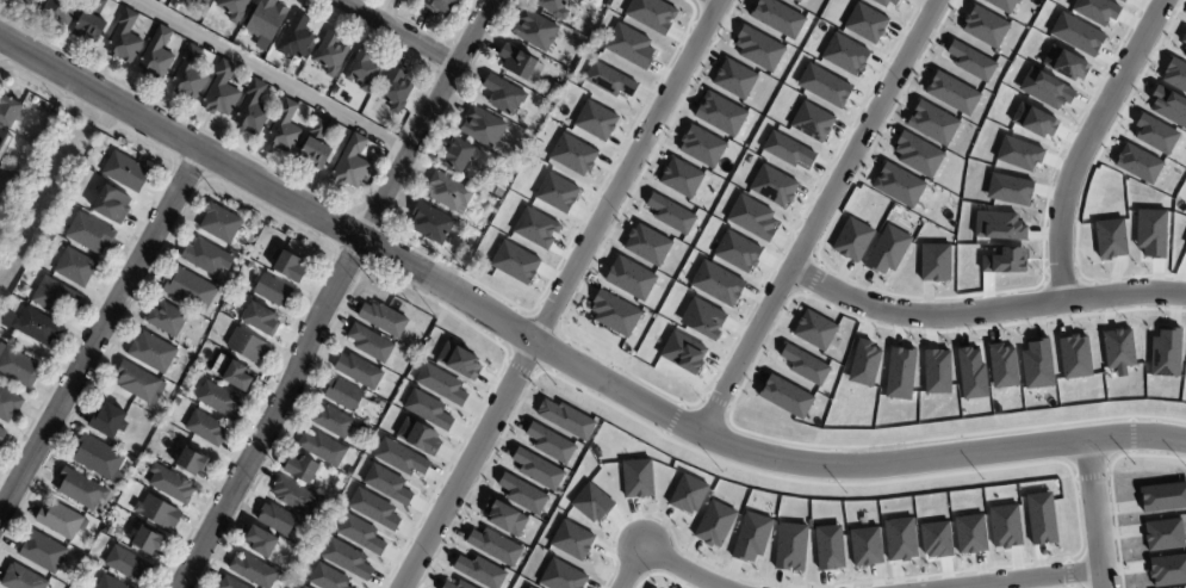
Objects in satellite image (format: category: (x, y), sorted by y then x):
road: (719, 0)
building: (1122, 0)
building: (795, 1)
building: (884, 1)
building: (199, 2)
building: (1002, 5)
building: (176, 7)
building: (441, 7)
building: (554, 7)
building: (234, 8)
building: (1095, 10)
building: (61, 11)
road: (8, 14)
building: (651, 14)
building: (777, 17)
building: (266, 21)
building: (92, 23)
building: (865, 23)
building: (985, 26)
building: (210, 29)
building: (536, 31)
road: (400, 32)
building: (1076, 35)
building: (296, 38)
building: (125, 41)
building: (1184, 41)
building: (628, 45)
building: (758, 49)
building: (845, 54)
building: (330, 55)
building: (1185, 56)
building: (157, 57)
building: (970, 61)
building: (517, 63)
building: (1063, 63)
building: (365, 70)
building: (1175, 74)
building: (190, 75)
road: (269, 76)
building: (734, 79)
building: (608, 80)
building: (247, 83)
building: (824, 85)
building: (1044, 89)
building: (336, 91)
building: (396, 91)
building: (222, 92)
building: (951, 93)
building: (504, 95)
building: (1168, 106)
building: (545, 109)
building: (253, 111)
building: (8, 112)
building: (720, 114)
building: (595, 120)
building: (1033, 120)
building: (812, 122)
building: (932, 123)
building: (484, 128)
building: (285, 129)
building: (1155, 134)
building: (529, 138)
building: (38, 142)
building: (4, 143)
road: (1086, 143)
building: (701, 146)
building: (316, 147)
building: (787, 149)
building: (572, 154)
building: (917, 154)
building: (1018, 154)
building: (381, 155)
building: (458, 156)
building: (1137, 163)
building: (352, 165)
building: (125, 173)
building: (511, 174)
building: (681, 178)
building: (772, 185)
building: (899, 185)
building: (1008, 190)
building: (557, 192)
building: (451, 194)
building: (478, 199)
building: (111, 205)
building: (670, 213)
building: (751, 217)
road: (819, 217)
building: (221, 222)
building: (431, 224)
building: (998, 225)
building: (535, 228)
building: (1150, 233)
building: (89, 235)
building: (1110, 239)
building: (852, 240)
building: (646, 245)
building: (1185, 246)
building: (887, 249)
building: (737, 252)
building: (205, 255)
building: (1004, 260)
building: (515, 262)
building: (934, 262)
building: (287, 265)
building: (75, 267)
building: (629, 278)
building: (716, 283)
building: (191, 289)
building: (274, 290)
road: (333, 292)
road: (559, 292)
building: (54, 297)
building: (223, 308)
road: (983, 311)
building: (614, 312)
building: (260, 317)
building: (384, 317)
building: (167, 318)
building: (702, 318)
building: (37, 328)
building: (814, 330)
road: (99, 333)
building: (371, 342)
building: (248, 345)
building: (1118, 349)
building: (153, 352)
building: (682, 352)
building: (1166, 353)
building: (210, 354)
building: (1074, 357)
road: (565, 358)
building: (459, 360)
building: (805, 364)
building: (863, 364)
building: (1037, 364)
building: (1001, 365)
building: (18, 369)
building: (359, 371)
building: (936, 371)
building: (900, 373)
building: (970, 373)
building: (236, 375)
building: (139, 382)
building: (440, 384)
building: (343, 394)
building: (784, 396)
building: (219, 400)
building: (8, 406)
building: (427, 409)
building: (566, 419)
building: (110, 420)
building: (334, 420)
building: (206, 428)
building: (1, 435)
building: (417, 437)
building: (549, 442)
building: (323, 447)
building: (97, 456)
building: (400, 457)
building: (129, 460)
building: (191, 460)
building: (302, 469)
building: (536, 469)
building: (637, 478)
building: (170, 483)
building: (386, 484)
building: (80, 488)
building: (522, 494)
building: (688, 494)
building: (296, 496)
building: (1163, 497)
building: (591, 502)
building: (373, 508)
building: (157, 510)
road: (1095, 513)
building: (504, 516)
building: (1041, 518)
building: (277, 519)
building: (62, 520)
building: (714, 524)
building: (1004, 526)
building: (360, 533)
building: (969, 533)
building: (1163, 534)
building: (750, 536)
building: (900, 538)
building: (148, 539)
building: (571, 539)
building: (936, 539)
building: (262, 540)
building: (493, 545)
building: (790, 546)
building: (865, 546)
building: (828, 547)
building: (43, 551)
building: (346, 558)
building: (128, 563)
road: (634, 567)
road: (684, 568)
building: (254, 570)
building: (1167, 570)
building: (479, 571)
building: (561, 576)
building: (327, 577)
building: (23, 578)
road: (1038, 581)
building: (110, 583)
building: (231, 583)
building: (455, 584)
building: (303, 587)
building: (529, 587)

